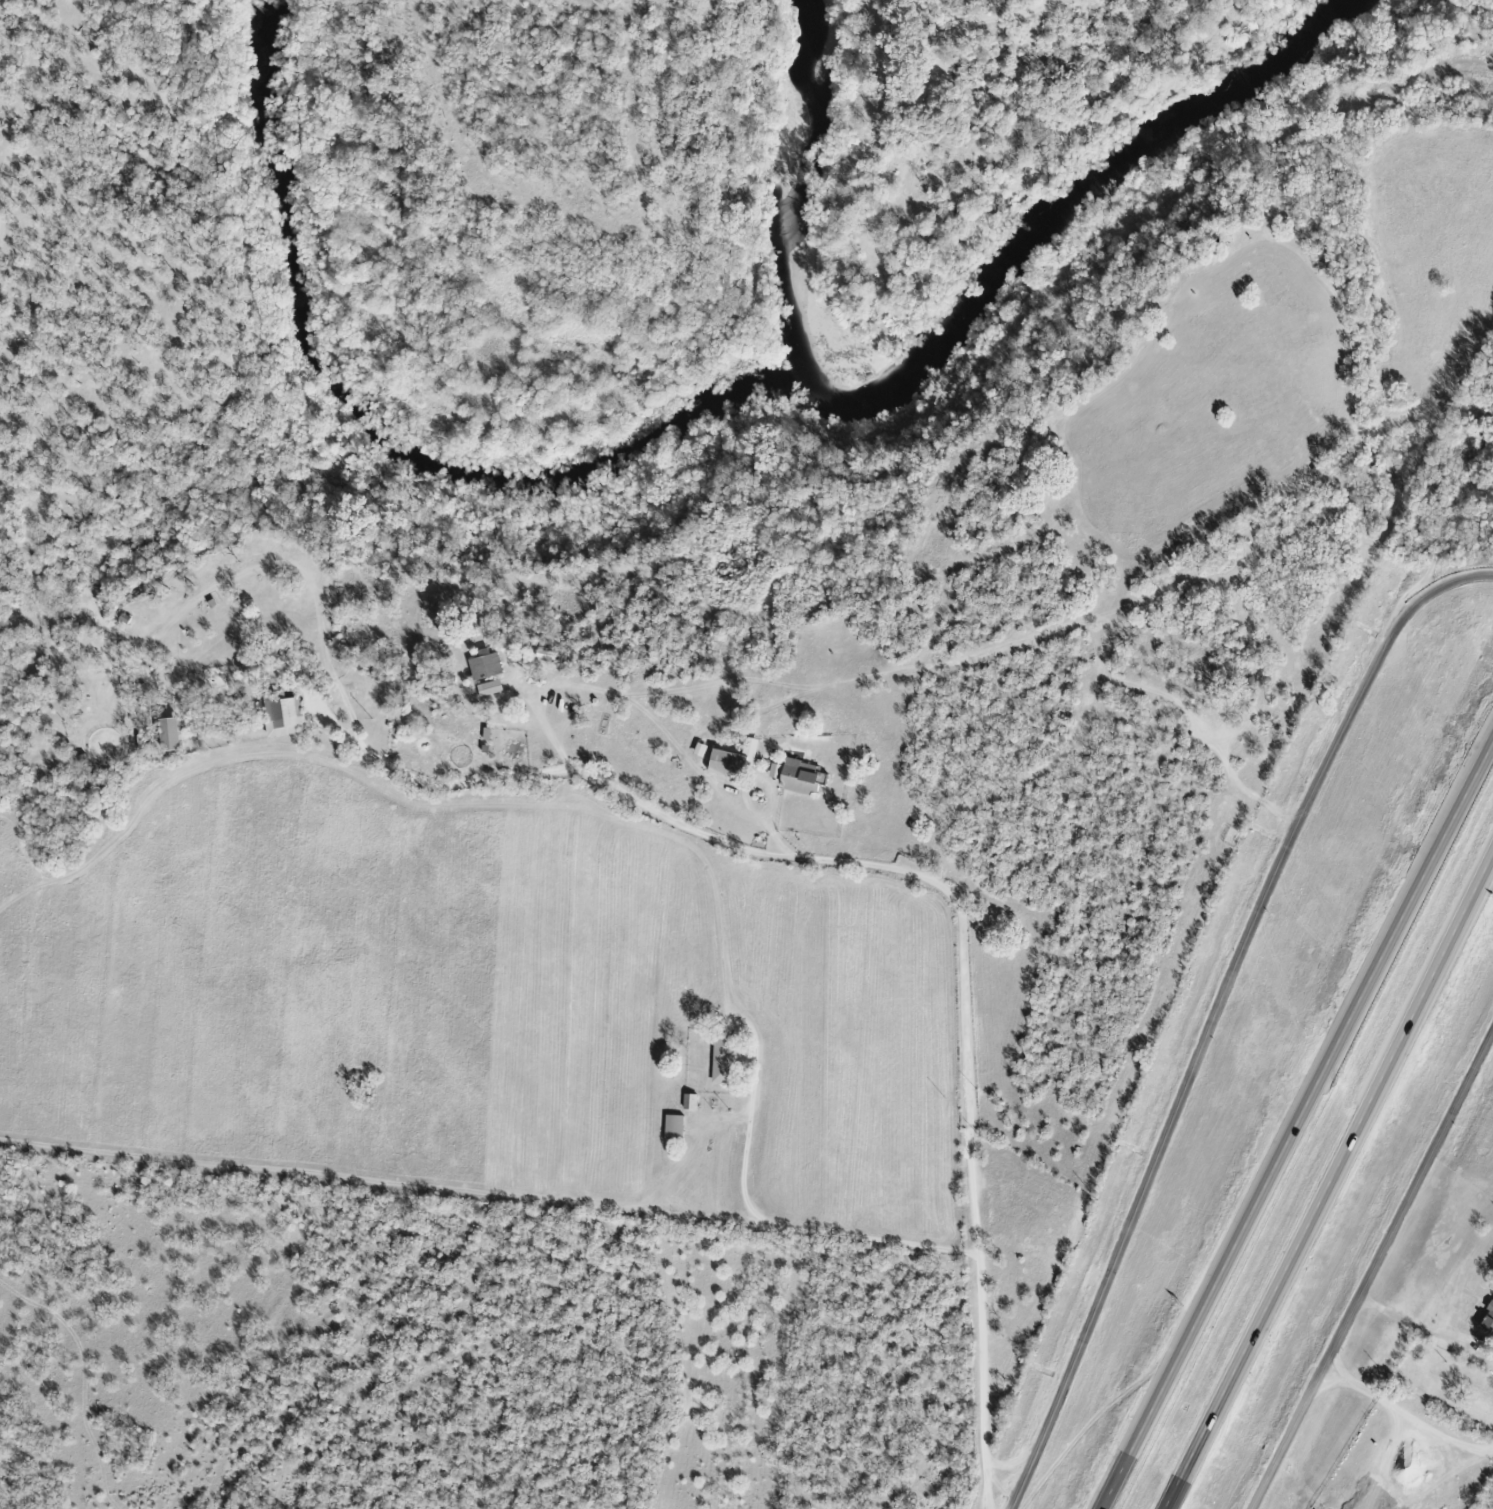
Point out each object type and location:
river: (805, 181)
river: (1062, 203)
river: (379, 434)
building: (486, 664)
building: (491, 687)
building: (283, 714)
road: (550, 722)
building: (174, 734)
building: (702, 749)
building: (735, 761)
building: (804, 777)
road: (945, 891)
road: (1217, 1011)
building: (725, 1059)
building: (692, 1101)
road: (1298, 1126)
building: (676, 1127)
road: (1332, 1184)
road: (783, 1227)
road: (1372, 1268)
building: (1486, 1320)
road: (1417, 1323)
road: (1407, 1410)

